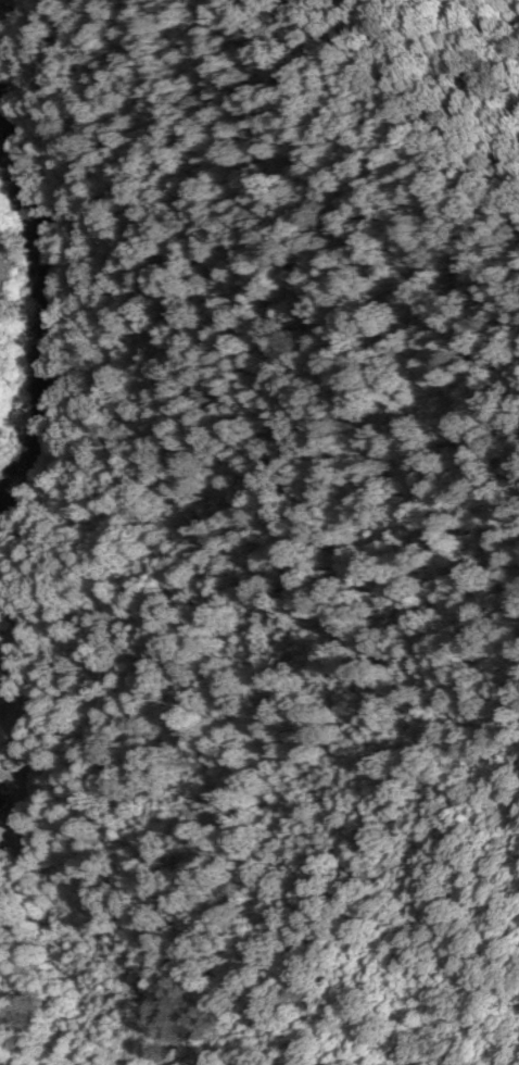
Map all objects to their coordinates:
river: (41, 315)
building: (1, 805)

